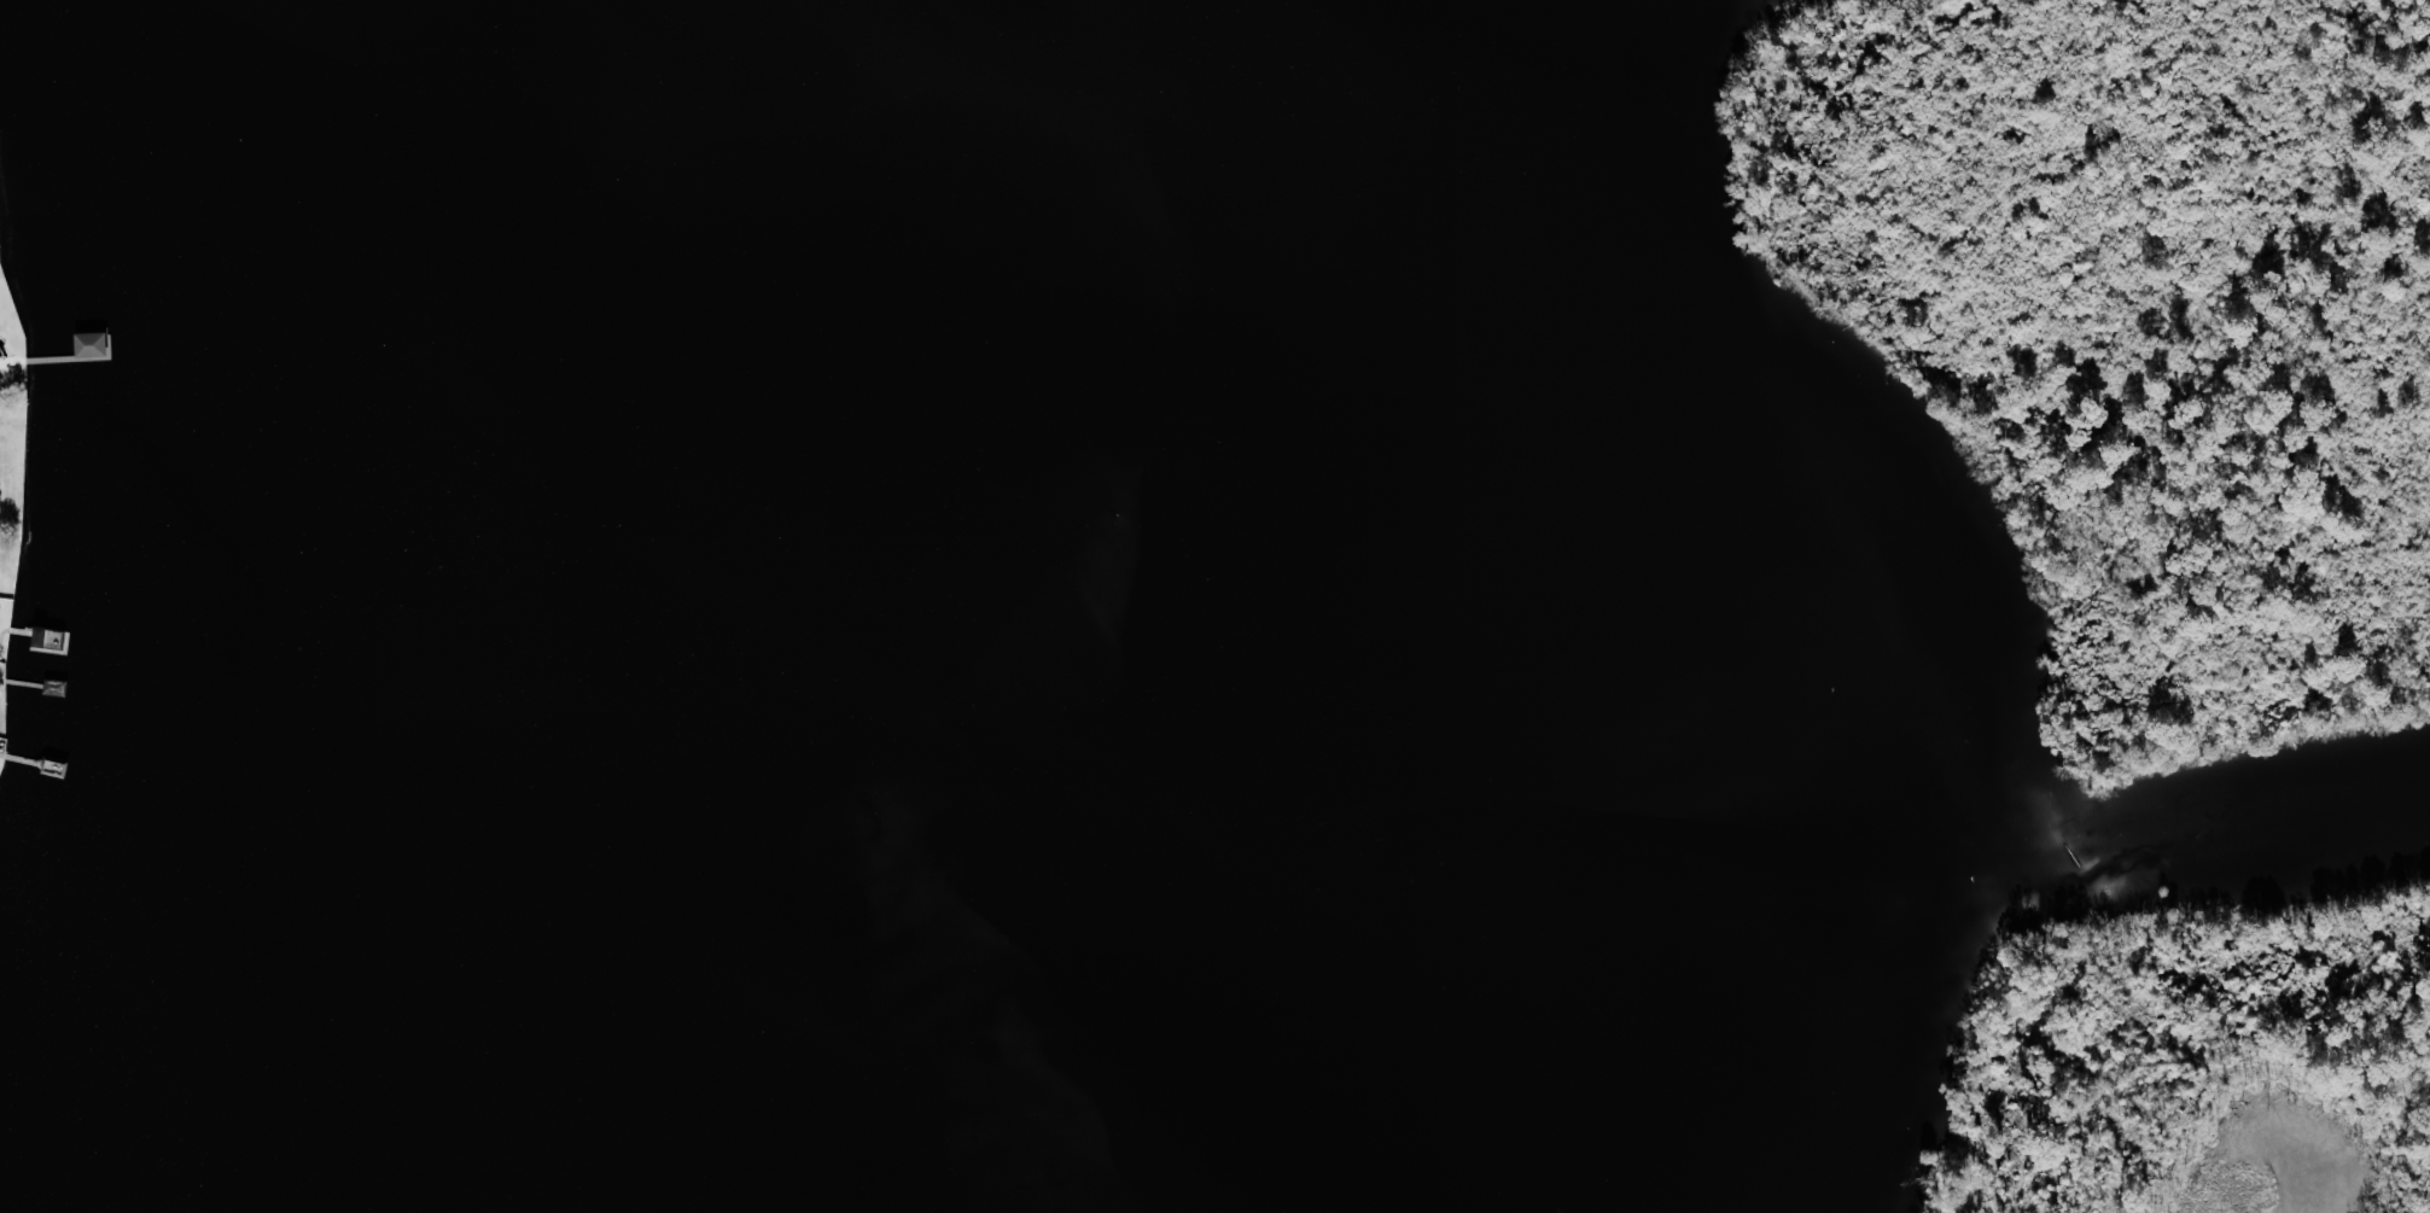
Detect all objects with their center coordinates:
building: (94, 344)
river: (1055, 593)

